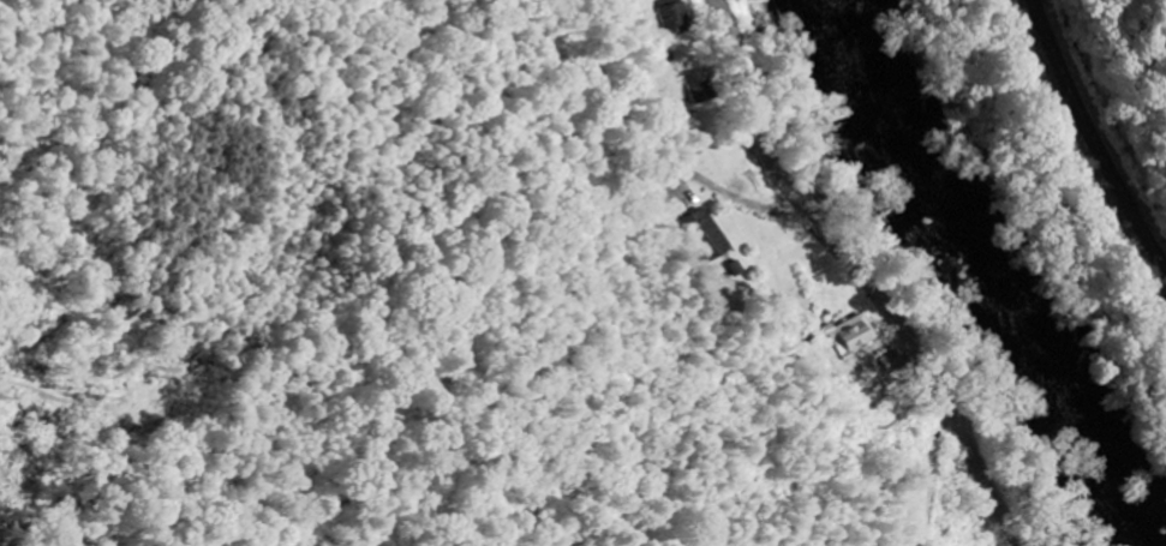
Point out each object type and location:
building: (680, 16)
railway: (1088, 148)
river: (1006, 256)
road: (866, 272)
building: (857, 336)

